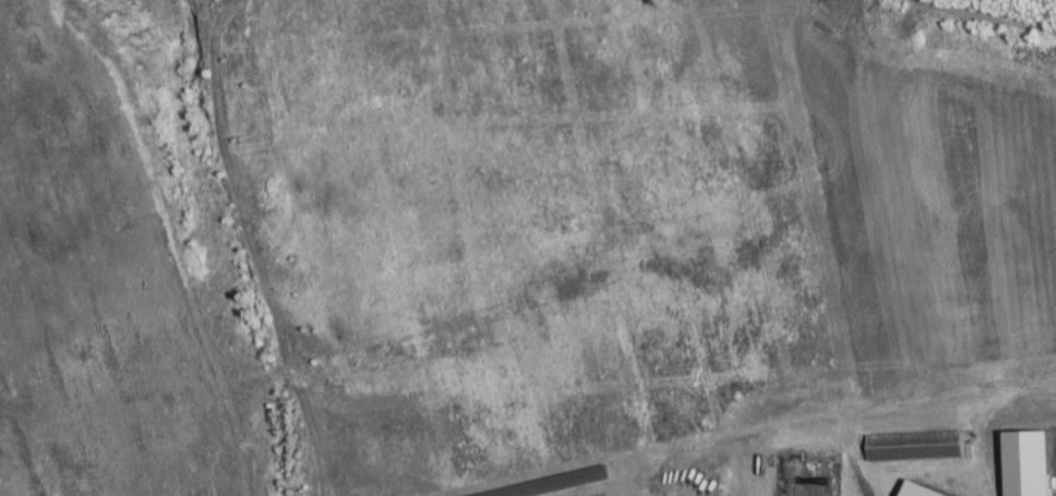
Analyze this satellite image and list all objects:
building: (917, 447)
building: (1029, 464)
building: (919, 491)

